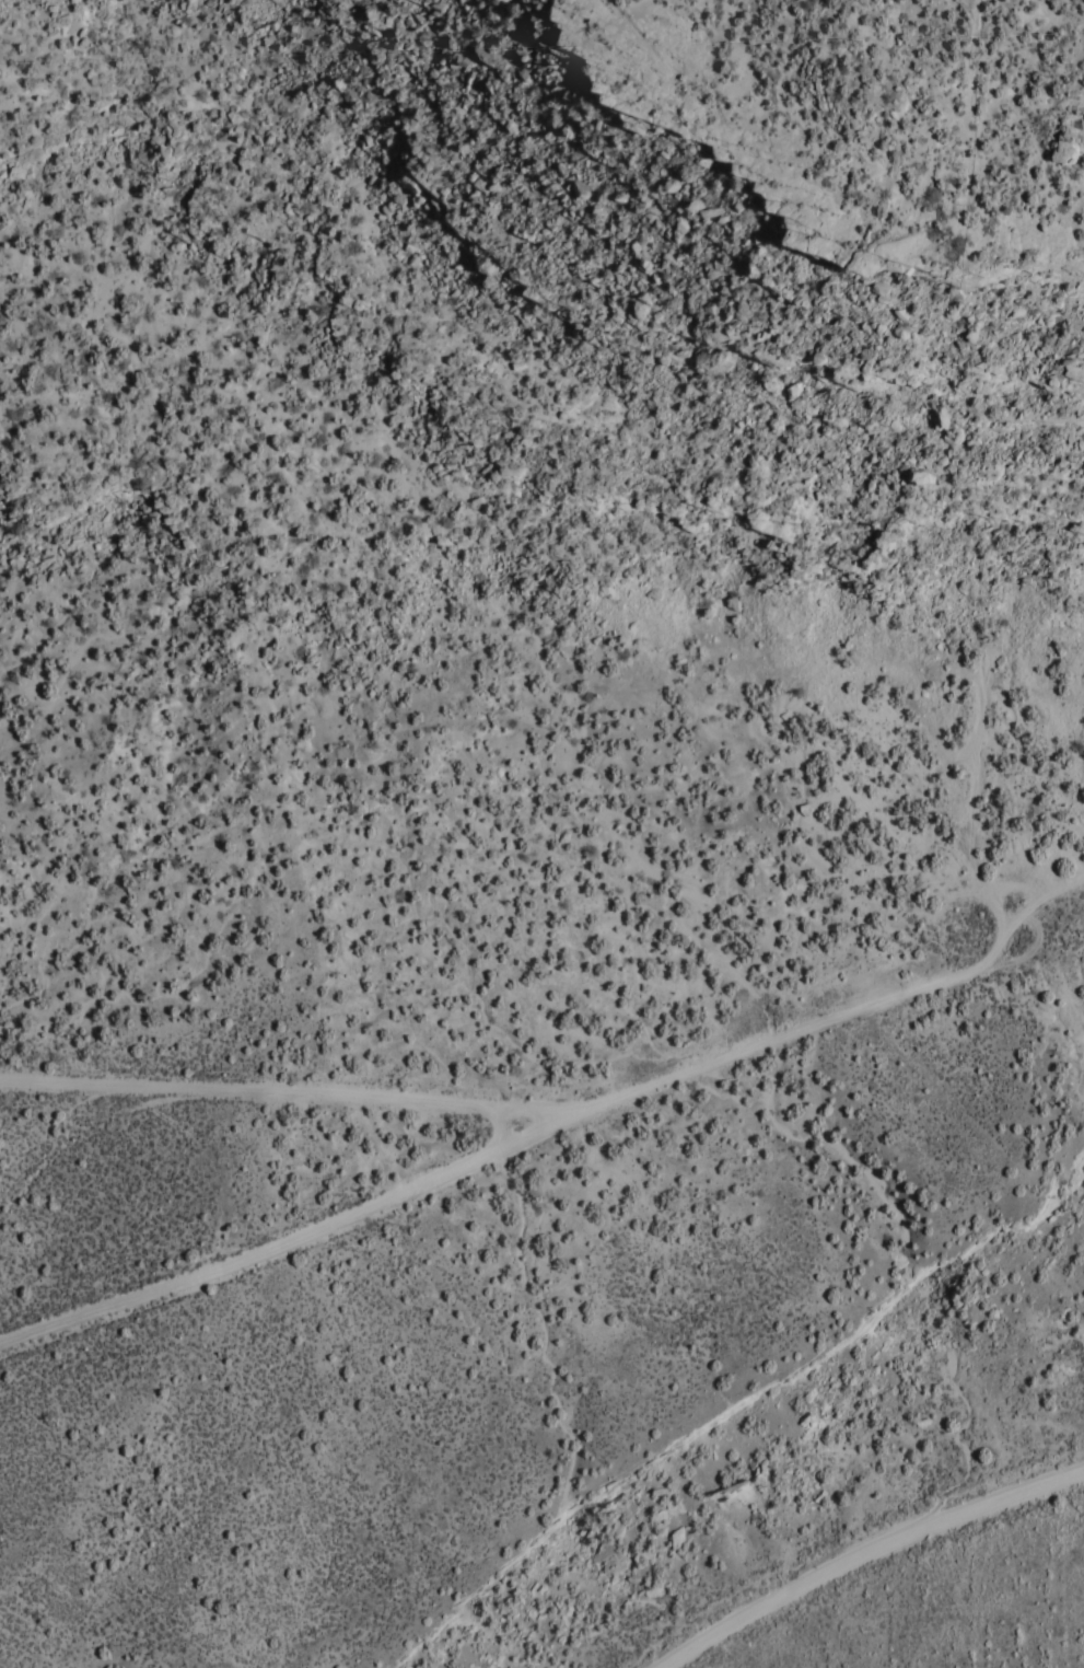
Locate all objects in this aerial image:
road: (805, 1031)
road: (537, 1107)
road: (504, 1145)
road: (866, 1554)
road: (1081, 1568)

